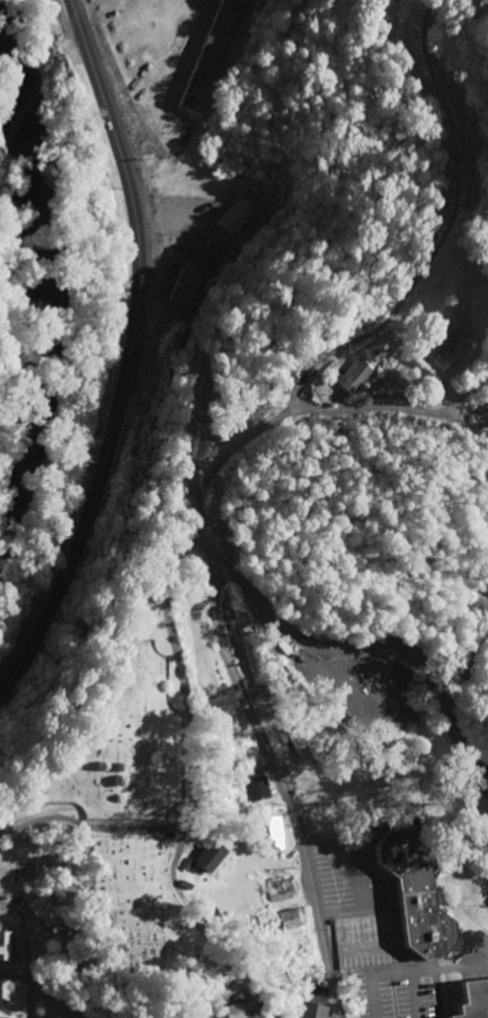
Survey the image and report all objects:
building: (218, 56)
building: (240, 218)
river: (46, 277)
building: (185, 284)
road: (392, 320)
building: (443, 340)
road: (128, 359)
building: (358, 376)
road: (361, 407)
road: (192, 543)
road: (177, 552)
road: (380, 640)
building: (211, 685)
road: (280, 766)
road: (192, 786)
building: (274, 833)
building: (215, 855)
building: (282, 890)
building: (419, 892)
building: (51, 913)
building: (217, 917)
building: (291, 921)
building: (7, 945)
road: (29, 956)
building: (7, 988)
building: (477, 1000)
building: (317, 1002)
building: (244, 1009)
building: (5, 1017)

